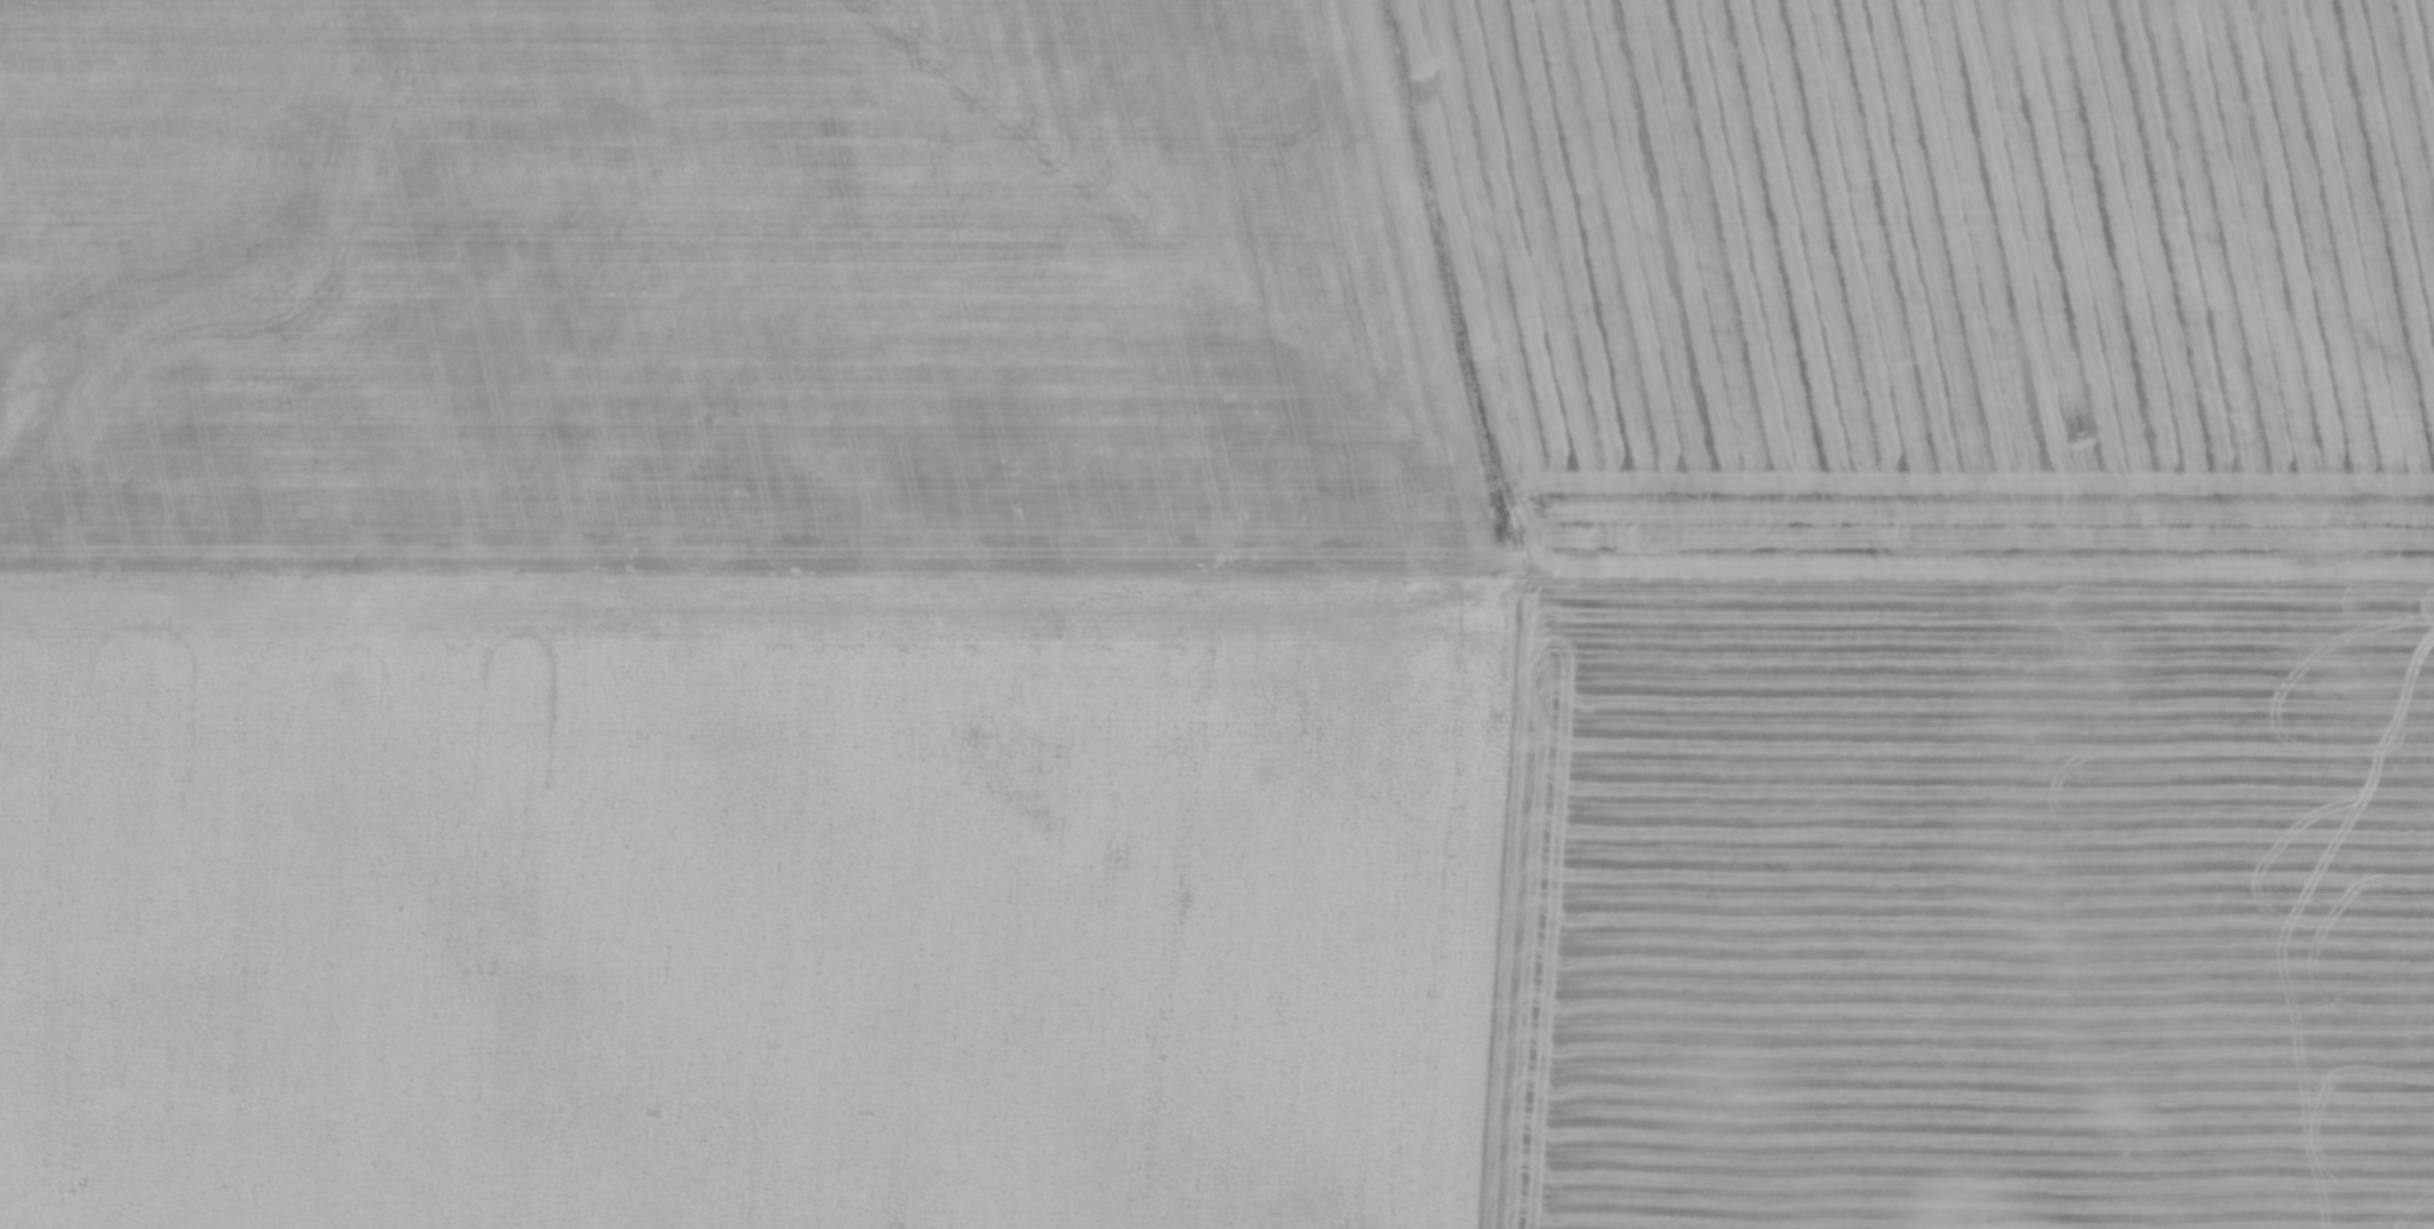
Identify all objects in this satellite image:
crop: (1217, 614)

